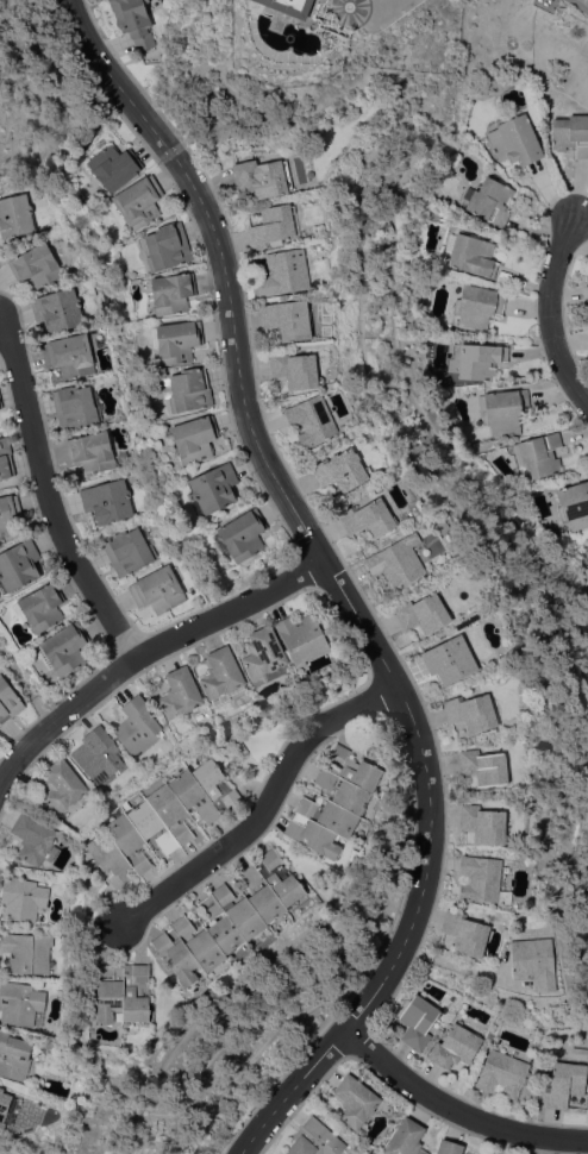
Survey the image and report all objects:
building: (293, 6)
road: (578, 6)
road: (374, 7)
building: (135, 21)
building: (571, 133)
building: (515, 139)
building: (113, 167)
building: (263, 177)
building: (488, 200)
building: (139, 201)
building: (15, 215)
building: (271, 226)
building: (165, 247)
building: (473, 255)
building: (36, 265)
building: (284, 272)
building: (587, 288)
building: (173, 293)
building: (477, 306)
building: (58, 309)
road: (551, 314)
building: (288, 319)
building: (176, 340)
building: (69, 355)
building: (481, 360)
building: (295, 369)
building: (187, 389)
building: (1, 403)
building: (74, 406)
building: (505, 410)
building: (312, 419)
building: (193, 439)
building: (92, 451)
building: (540, 453)
building: (5, 458)
building: (339, 470)
building: (214, 488)
road: (48, 500)
building: (107, 501)
building: (574, 504)
building: (6, 515)
building: (368, 519)
building: (243, 534)
building: (127, 551)
building: (587, 554)
building: (396, 560)
building: (18, 565)
building: (587, 572)
road: (336, 584)
building: (158, 589)
building: (40, 608)
building: (423, 613)
building: (301, 638)
building: (62, 650)
road: (146, 652)
building: (264, 656)
building: (449, 659)
building: (221, 672)
building: (180, 692)
building: (8, 700)
building: (471, 711)
building: (138, 726)
building: (98, 753)
building: (484, 766)
building: (62, 785)
building: (334, 802)
road: (264, 805)
building: (162, 820)
building: (483, 823)
building: (35, 839)
building: (526, 859)
building: (480, 878)
building: (23, 899)
building: (231, 917)
building: (465, 933)
building: (27, 952)
building: (534, 961)
building: (123, 991)
building: (20, 1002)
building: (419, 1018)
building: (455, 1046)
building: (580, 1053)
building: (15, 1055)
building: (502, 1073)
building: (564, 1084)
building: (356, 1100)
building: (5, 1108)
road: (456, 1110)
building: (314, 1139)
building: (406, 1139)
building: (450, 1147)

